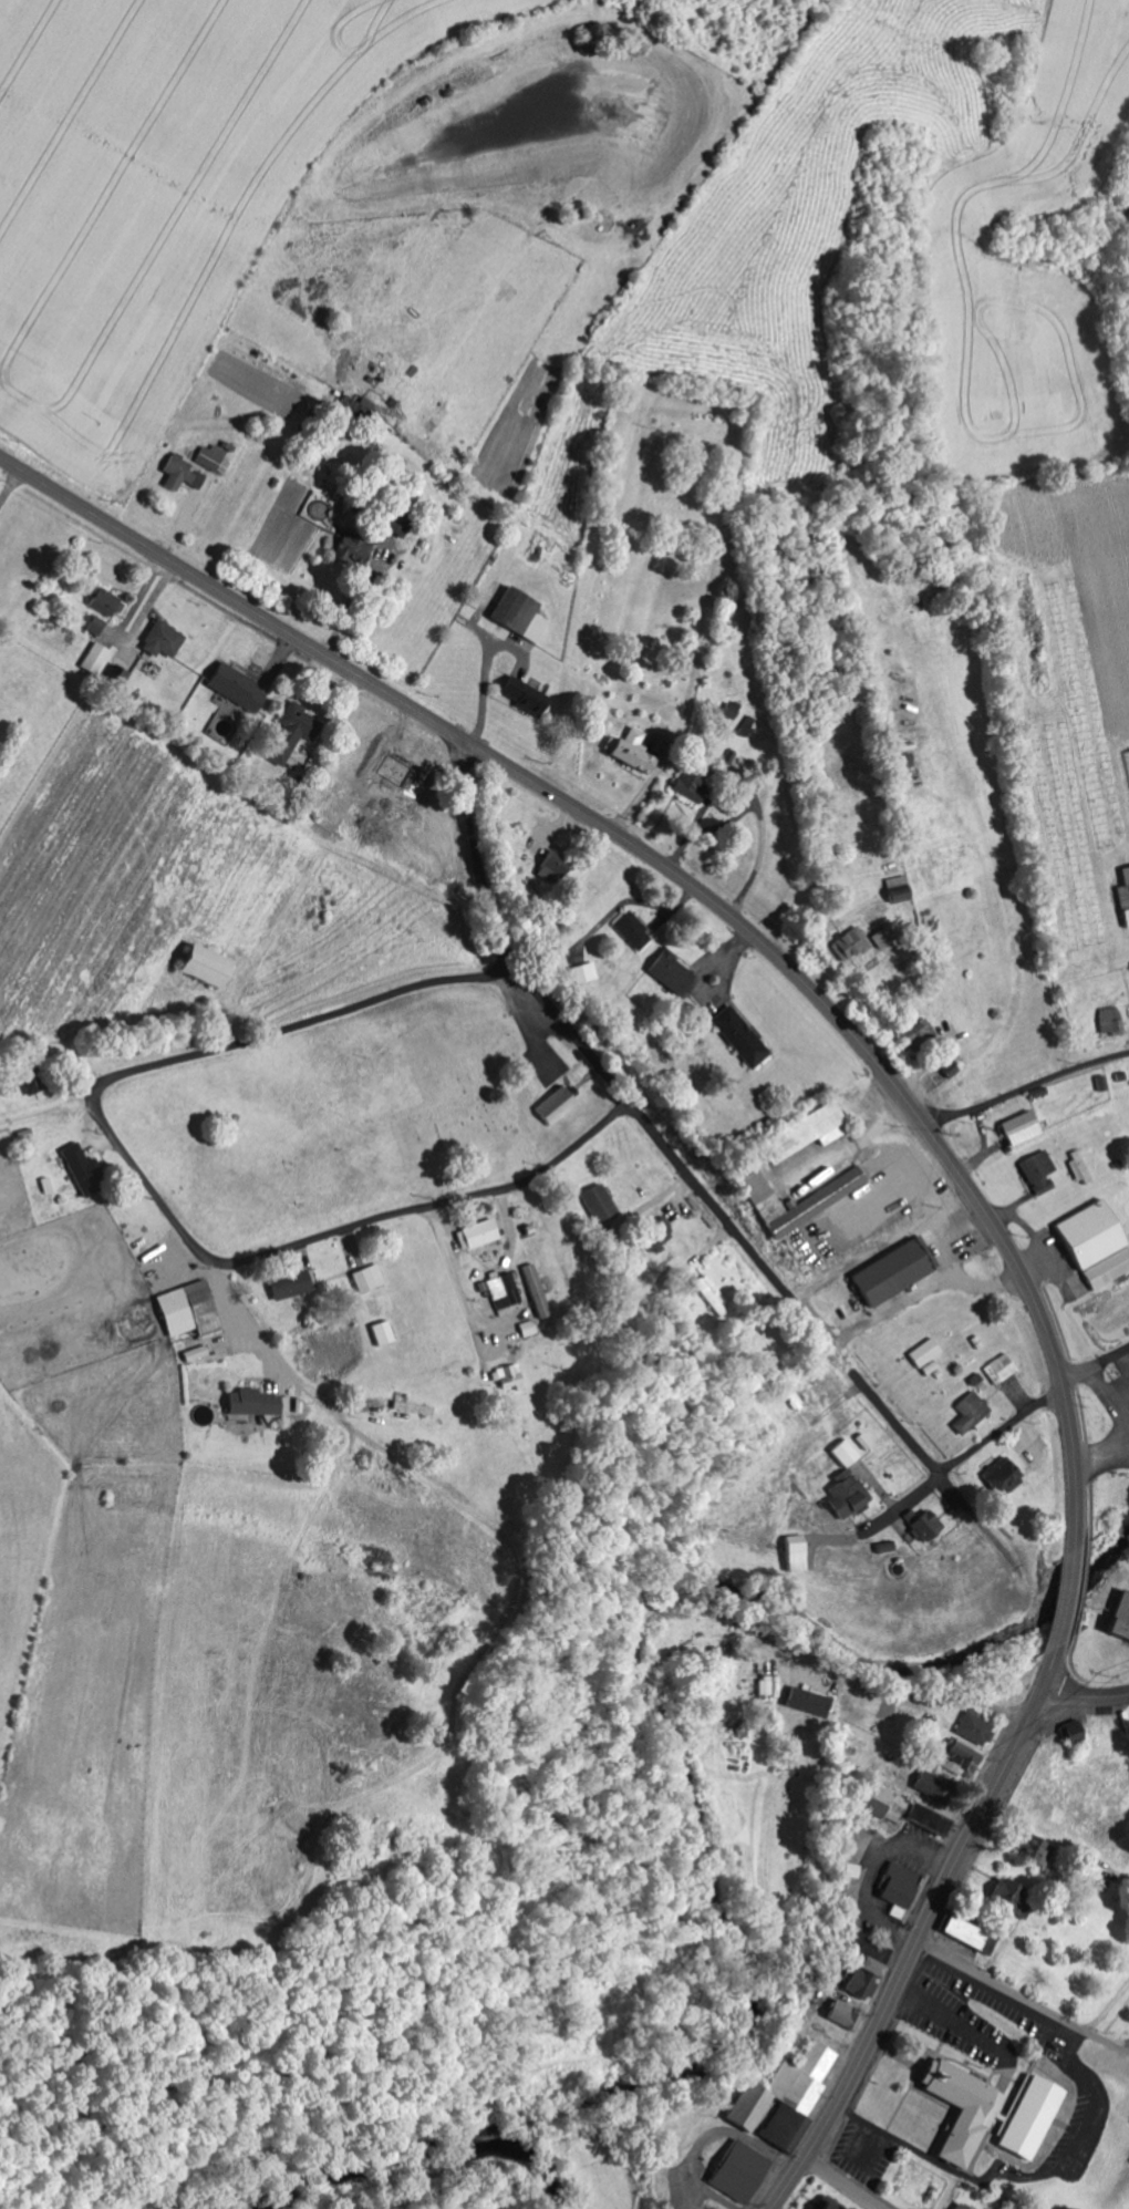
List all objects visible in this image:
road: (614, 343)
building: (356, 405)
building: (210, 458)
building: (179, 474)
road: (21, 509)
building: (392, 526)
building: (349, 549)
building: (101, 600)
building: (510, 609)
building: (94, 624)
building: (531, 627)
building: (159, 638)
building: (94, 657)
building: (113, 675)
building: (232, 688)
building: (519, 693)
building: (729, 709)
building: (746, 725)
building: (289, 731)
building: (629, 750)
building: (1128, 755)
building: (903, 760)
building: (687, 785)
building: (549, 864)
building: (1123, 895)
road: (743, 925)
building: (631, 929)
building: (882, 936)
building: (850, 942)
building: (198, 963)
building: (669, 971)
building: (582, 972)
building: (1109, 1020)
building: (916, 1032)
building: (738, 1035)
road: (581, 1040)
building: (28, 1081)
building: (1100, 1082)
road: (1028, 1090)
building: (553, 1106)
park: (339, 1118)
building: (1016, 1127)
building: (801, 1133)
building: (81, 1167)
building: (1079, 1167)
building: (1037, 1170)
building: (598, 1201)
building: (760, 1201)
building: (811, 1202)
road: (169, 1212)
building: (659, 1232)
building: (474, 1233)
building: (1087, 1235)
building: (1107, 1269)
building: (892, 1270)
road: (226, 1278)
building: (365, 1278)
building: (290, 1282)
building: (535, 1290)
building: (501, 1292)
building: (186, 1309)
building: (526, 1328)
building: (380, 1332)
building: (193, 1353)
building: (923, 1353)
building: (999, 1367)
building: (507, 1376)
road: (867, 1390)
building: (253, 1402)
road: (1039, 1404)
building: (412, 1407)
building: (970, 1413)
building: (843, 1453)
building: (999, 1475)
building: (845, 1494)
building: (923, 1525)
building: (884, 1547)
building: (795, 1556)
building: (1118, 1617)
building: (714, 1671)
building: (763, 1685)
road: (1084, 1695)
road: (894, 1699)
building: (802, 1701)
building: (969, 1728)
building: (1068, 1732)
building: (956, 1758)
building: (893, 1808)
building: (1034, 1850)
building: (895, 1885)
building: (1003, 1893)
building: (967, 1934)
road: (913, 1953)
building: (862, 1965)
road: (1023, 1999)
building: (840, 2014)
building: (791, 2094)
building: (742, 2107)
building: (957, 2108)
building: (1028, 2118)
building: (734, 2170)
road: (841, 2184)
building: (818, 2207)
building: (963, 2207)

